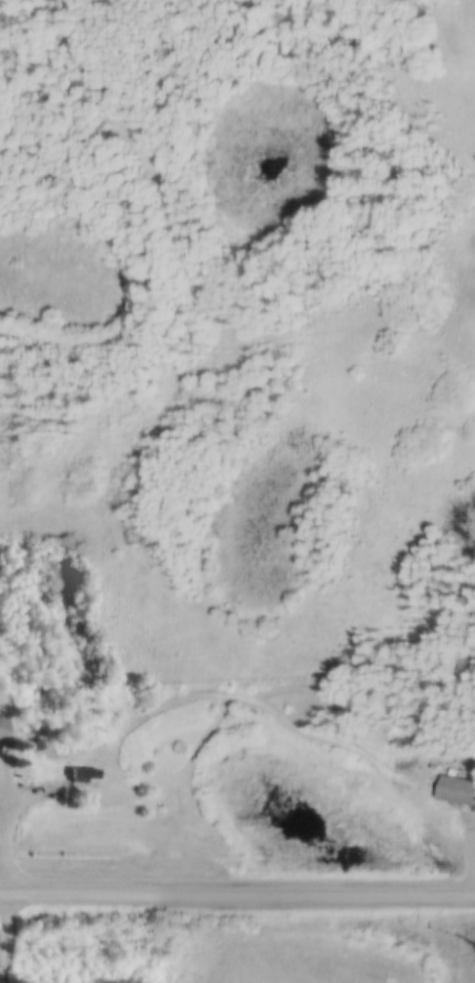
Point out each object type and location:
building: (3, 723)
building: (38, 740)
building: (82, 771)
building: (456, 786)
road: (5, 857)
road: (237, 891)

